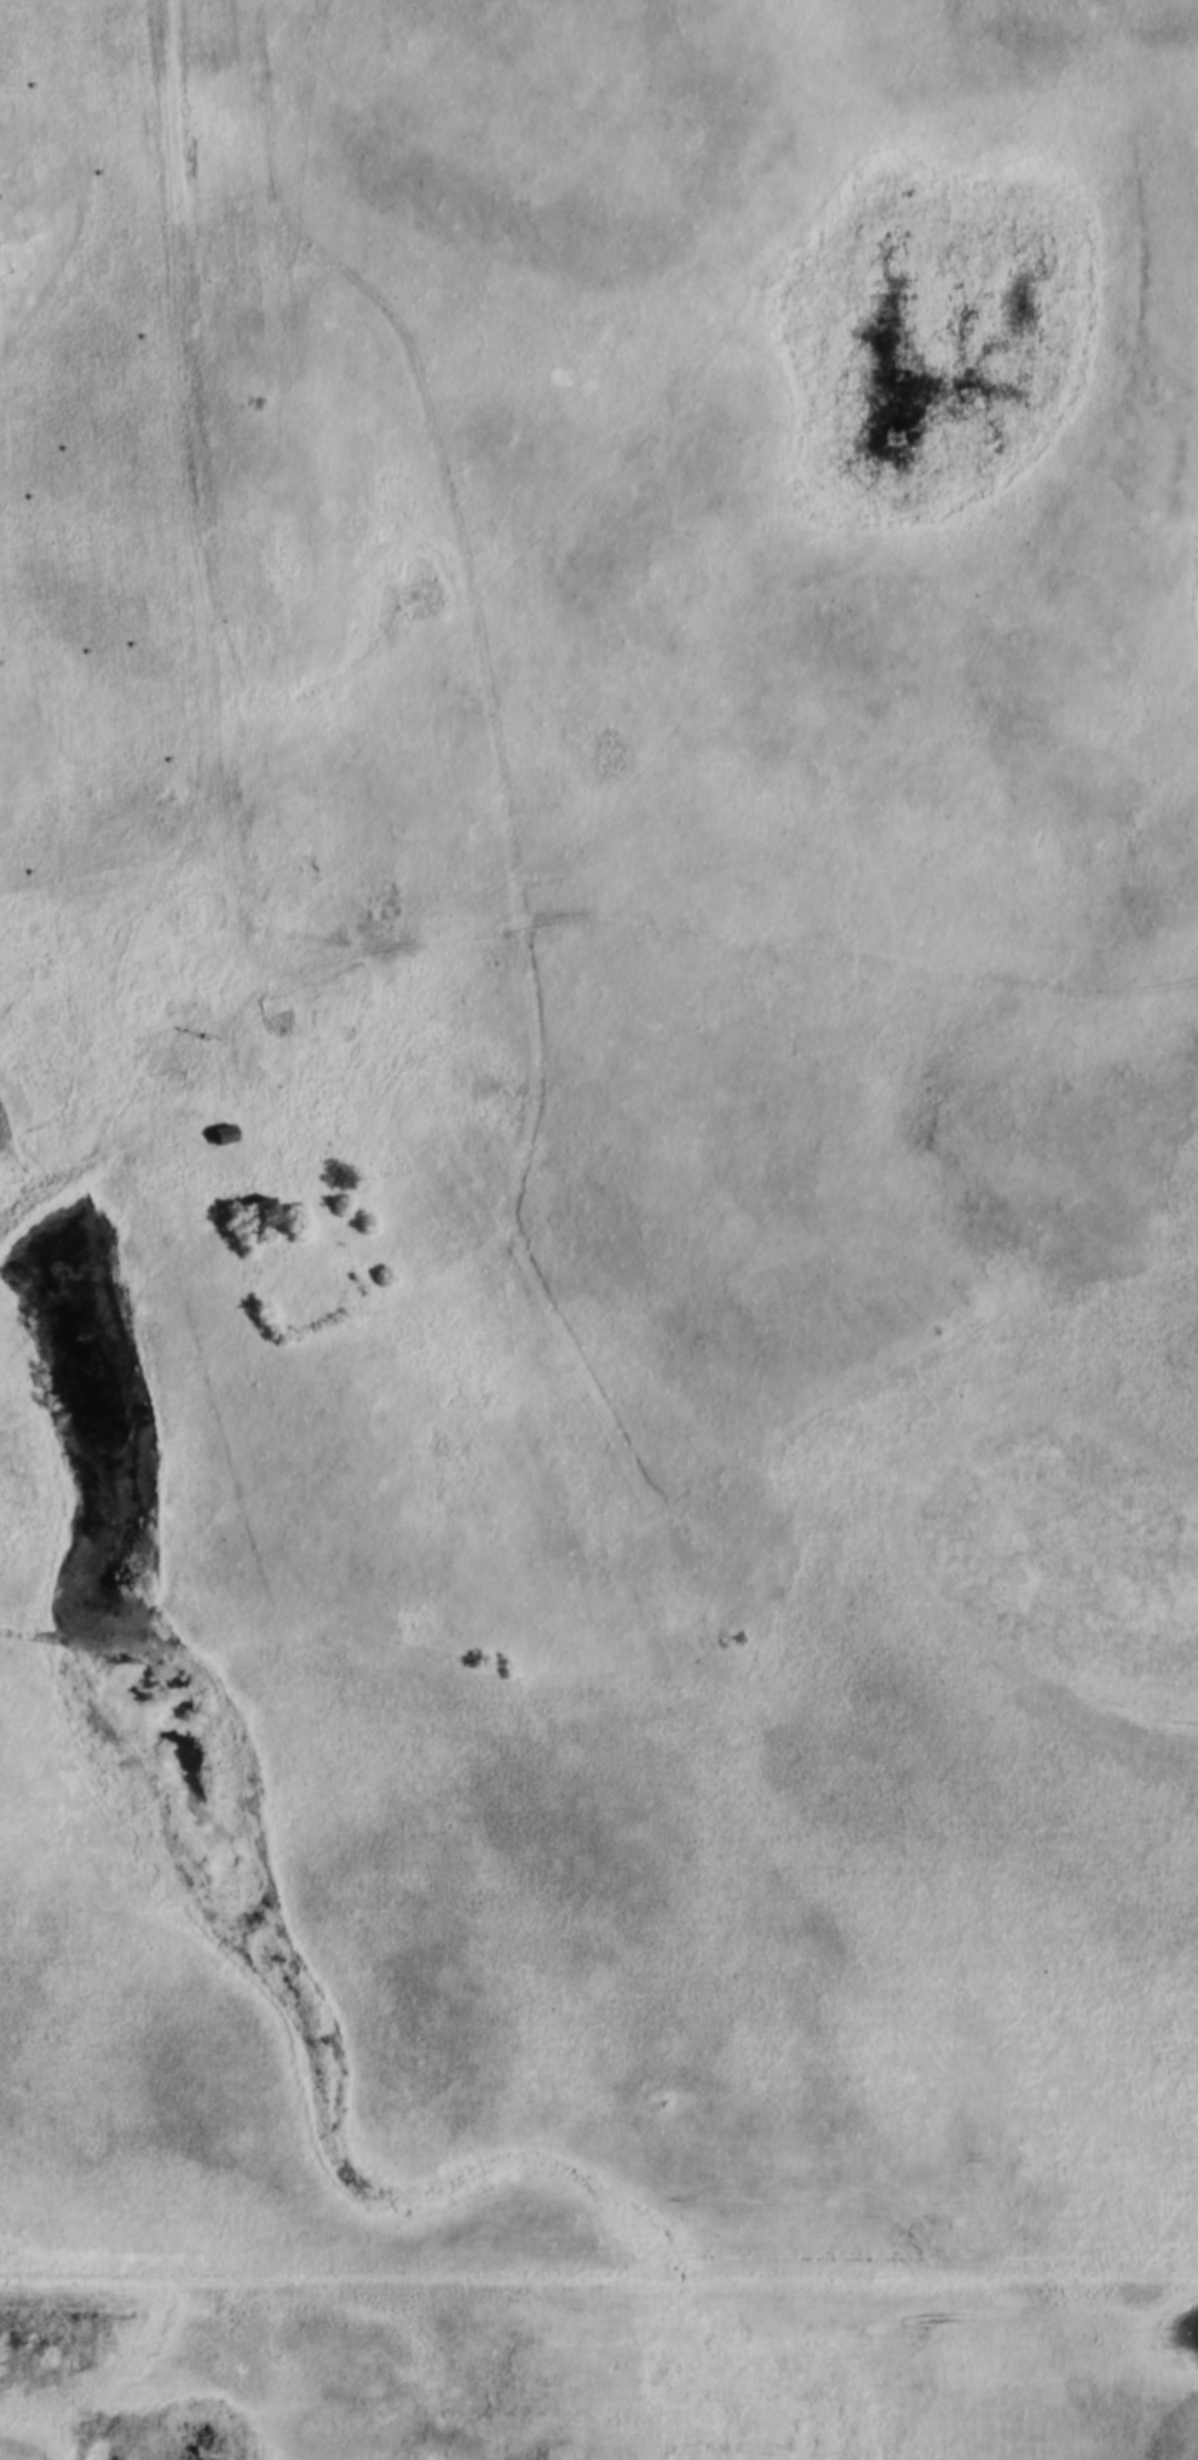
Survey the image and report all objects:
building: (221, 1134)
building: (260, 1211)

